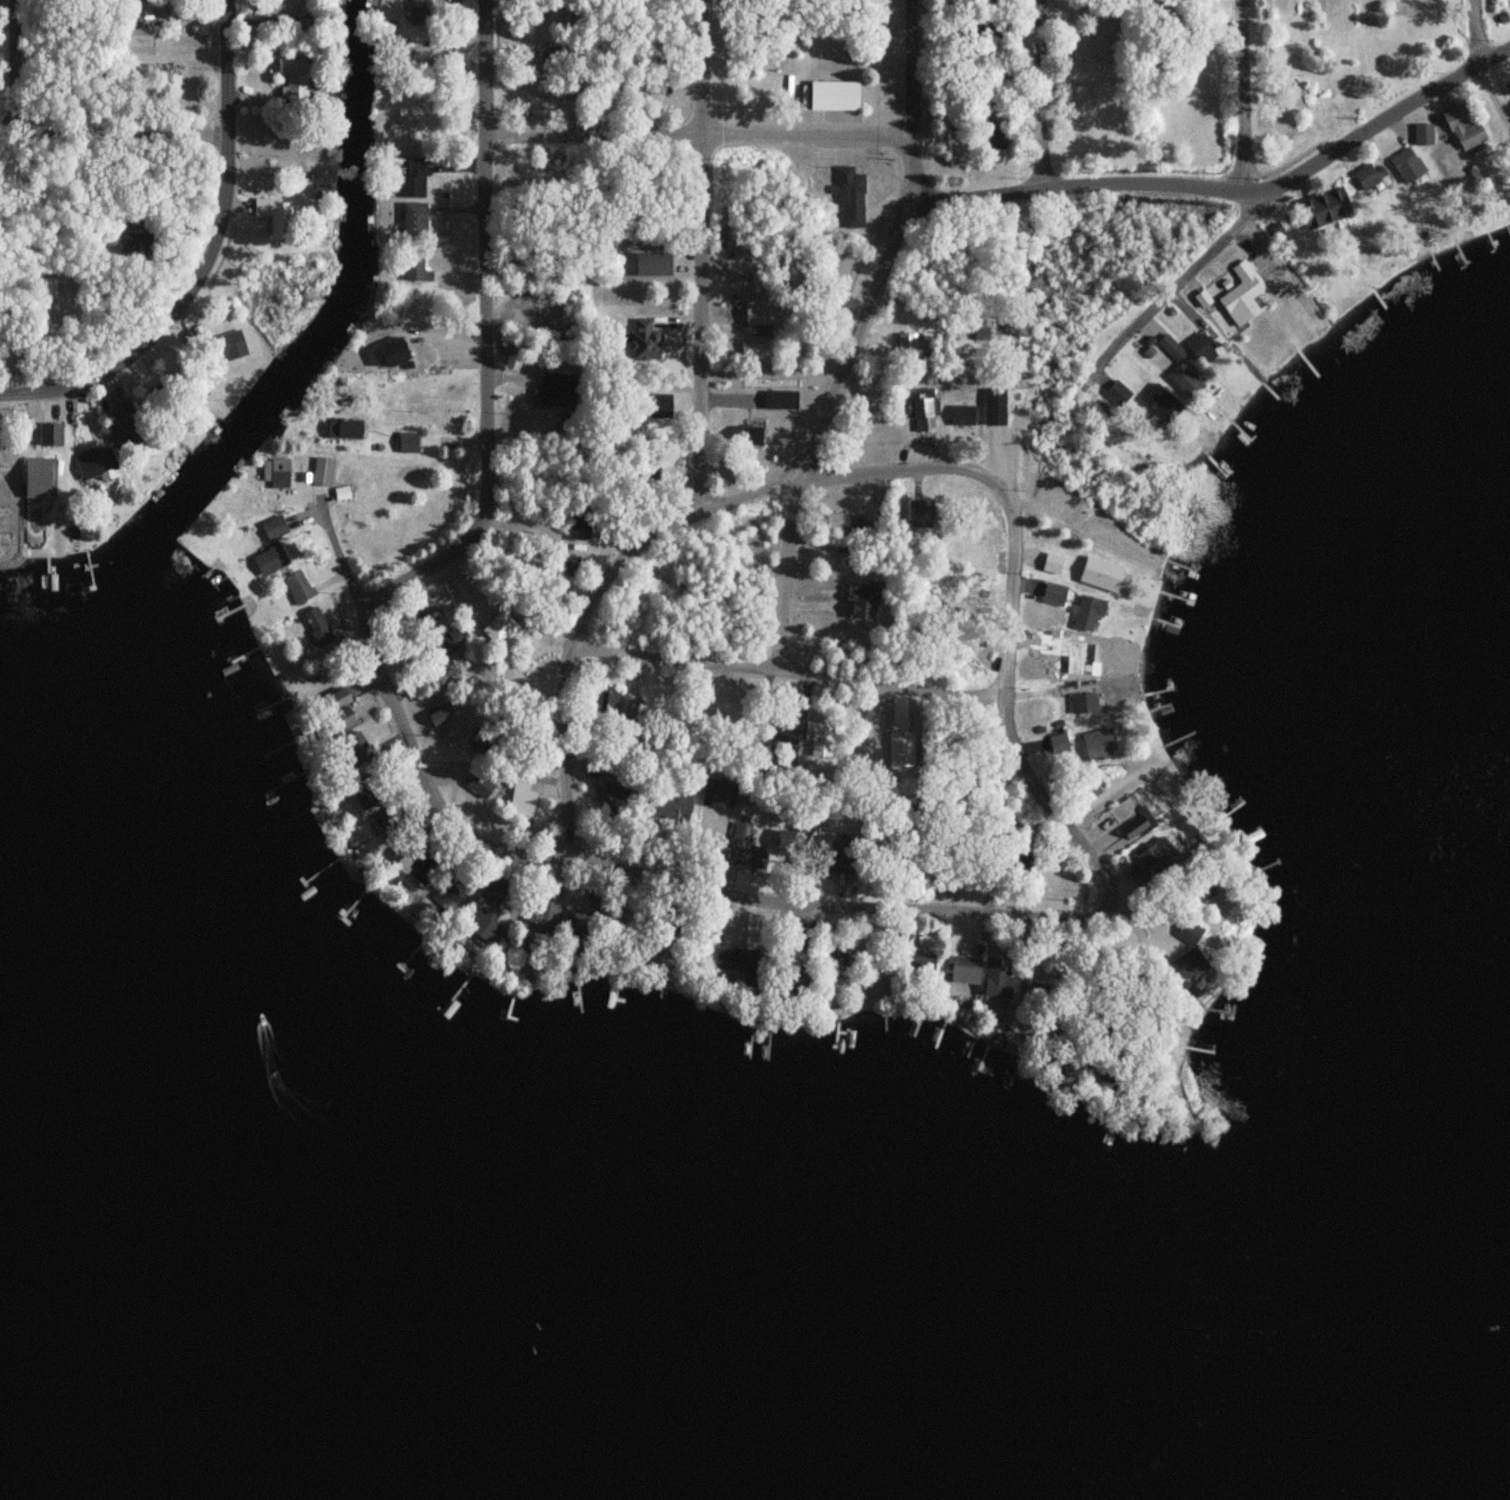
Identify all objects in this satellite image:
building: (1153, 7)
road: (1478, 28)
road: (10, 63)
road: (489, 63)
road: (913, 64)
building: (290, 72)
road: (1495, 89)
building: (833, 91)
road: (1042, 93)
road: (1376, 124)
road: (114, 128)
road: (700, 129)
building: (1463, 131)
building: (996, 133)
building: (1411, 149)
road: (1238, 166)
road: (909, 171)
building: (411, 182)
road: (1070, 184)
building: (849, 190)
building: (271, 209)
building: (1317, 210)
building: (413, 221)
road: (703, 253)
road: (207, 258)
building: (655, 266)
building: (414, 267)
road: (1176, 279)
building: (1244, 284)
building: (48, 289)
building: (645, 340)
building: (905, 340)
building: (226, 348)
building: (1179, 371)
road: (489, 385)
building: (552, 390)
road: (833, 391)
building: (1160, 403)
building: (993, 409)
building: (918, 410)
building: (962, 417)
building: (342, 431)
building: (116, 433)
building: (46, 437)
building: (93, 467)
building: (274, 472)
building: (37, 479)
building: (837, 522)
building: (577, 526)
building: (273, 529)
building: (1054, 557)
building: (270, 559)
road: (342, 563)
building: (568, 565)
building: (1102, 568)
road: (787, 573)
building: (297, 587)
building: (1056, 588)
building: (857, 601)
building: (1089, 606)
building: (316, 626)
building: (454, 636)
building: (1067, 640)
road: (572, 649)
building: (1094, 653)
building: (1077, 657)
road: (791, 668)
building: (1083, 705)
building: (436, 719)
building: (1098, 746)
building: (1086, 790)
building: (716, 794)
building: (670, 808)
building: (1132, 828)
building: (743, 849)
building: (1151, 857)
road: (986, 908)
building: (471, 924)
building: (1181, 932)
building: (827, 952)
building: (724, 959)
building: (958, 969)
building: (991, 977)
building: (1036, 983)

